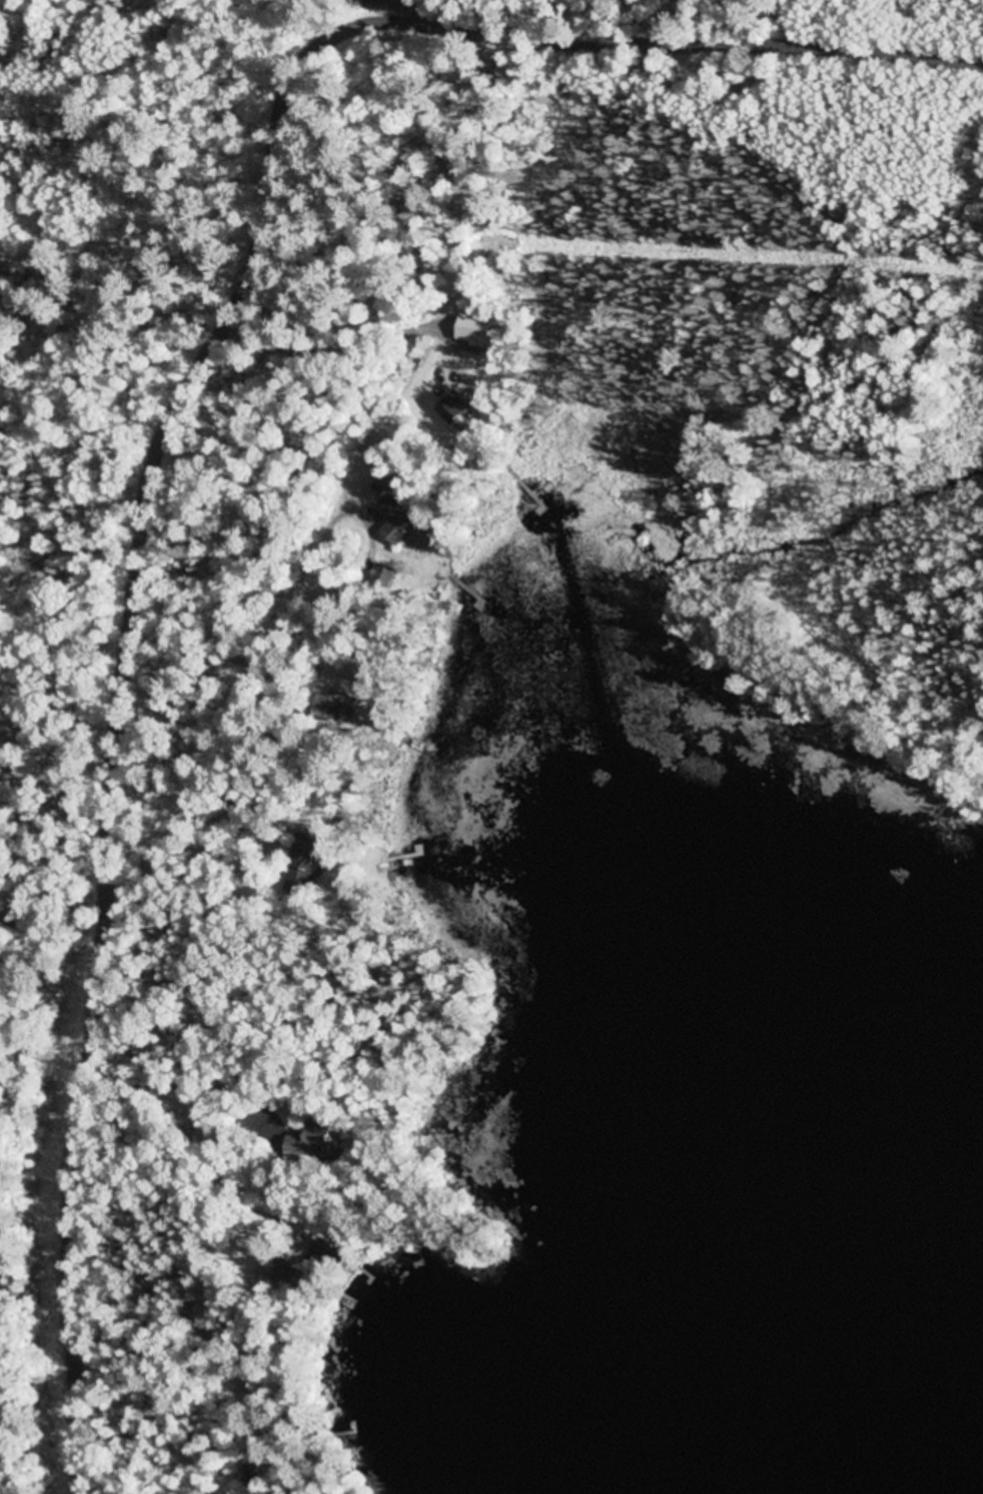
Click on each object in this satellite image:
road: (173, 419)
building: (397, 519)
building: (335, 707)
building: (305, 866)
building: (313, 1141)

